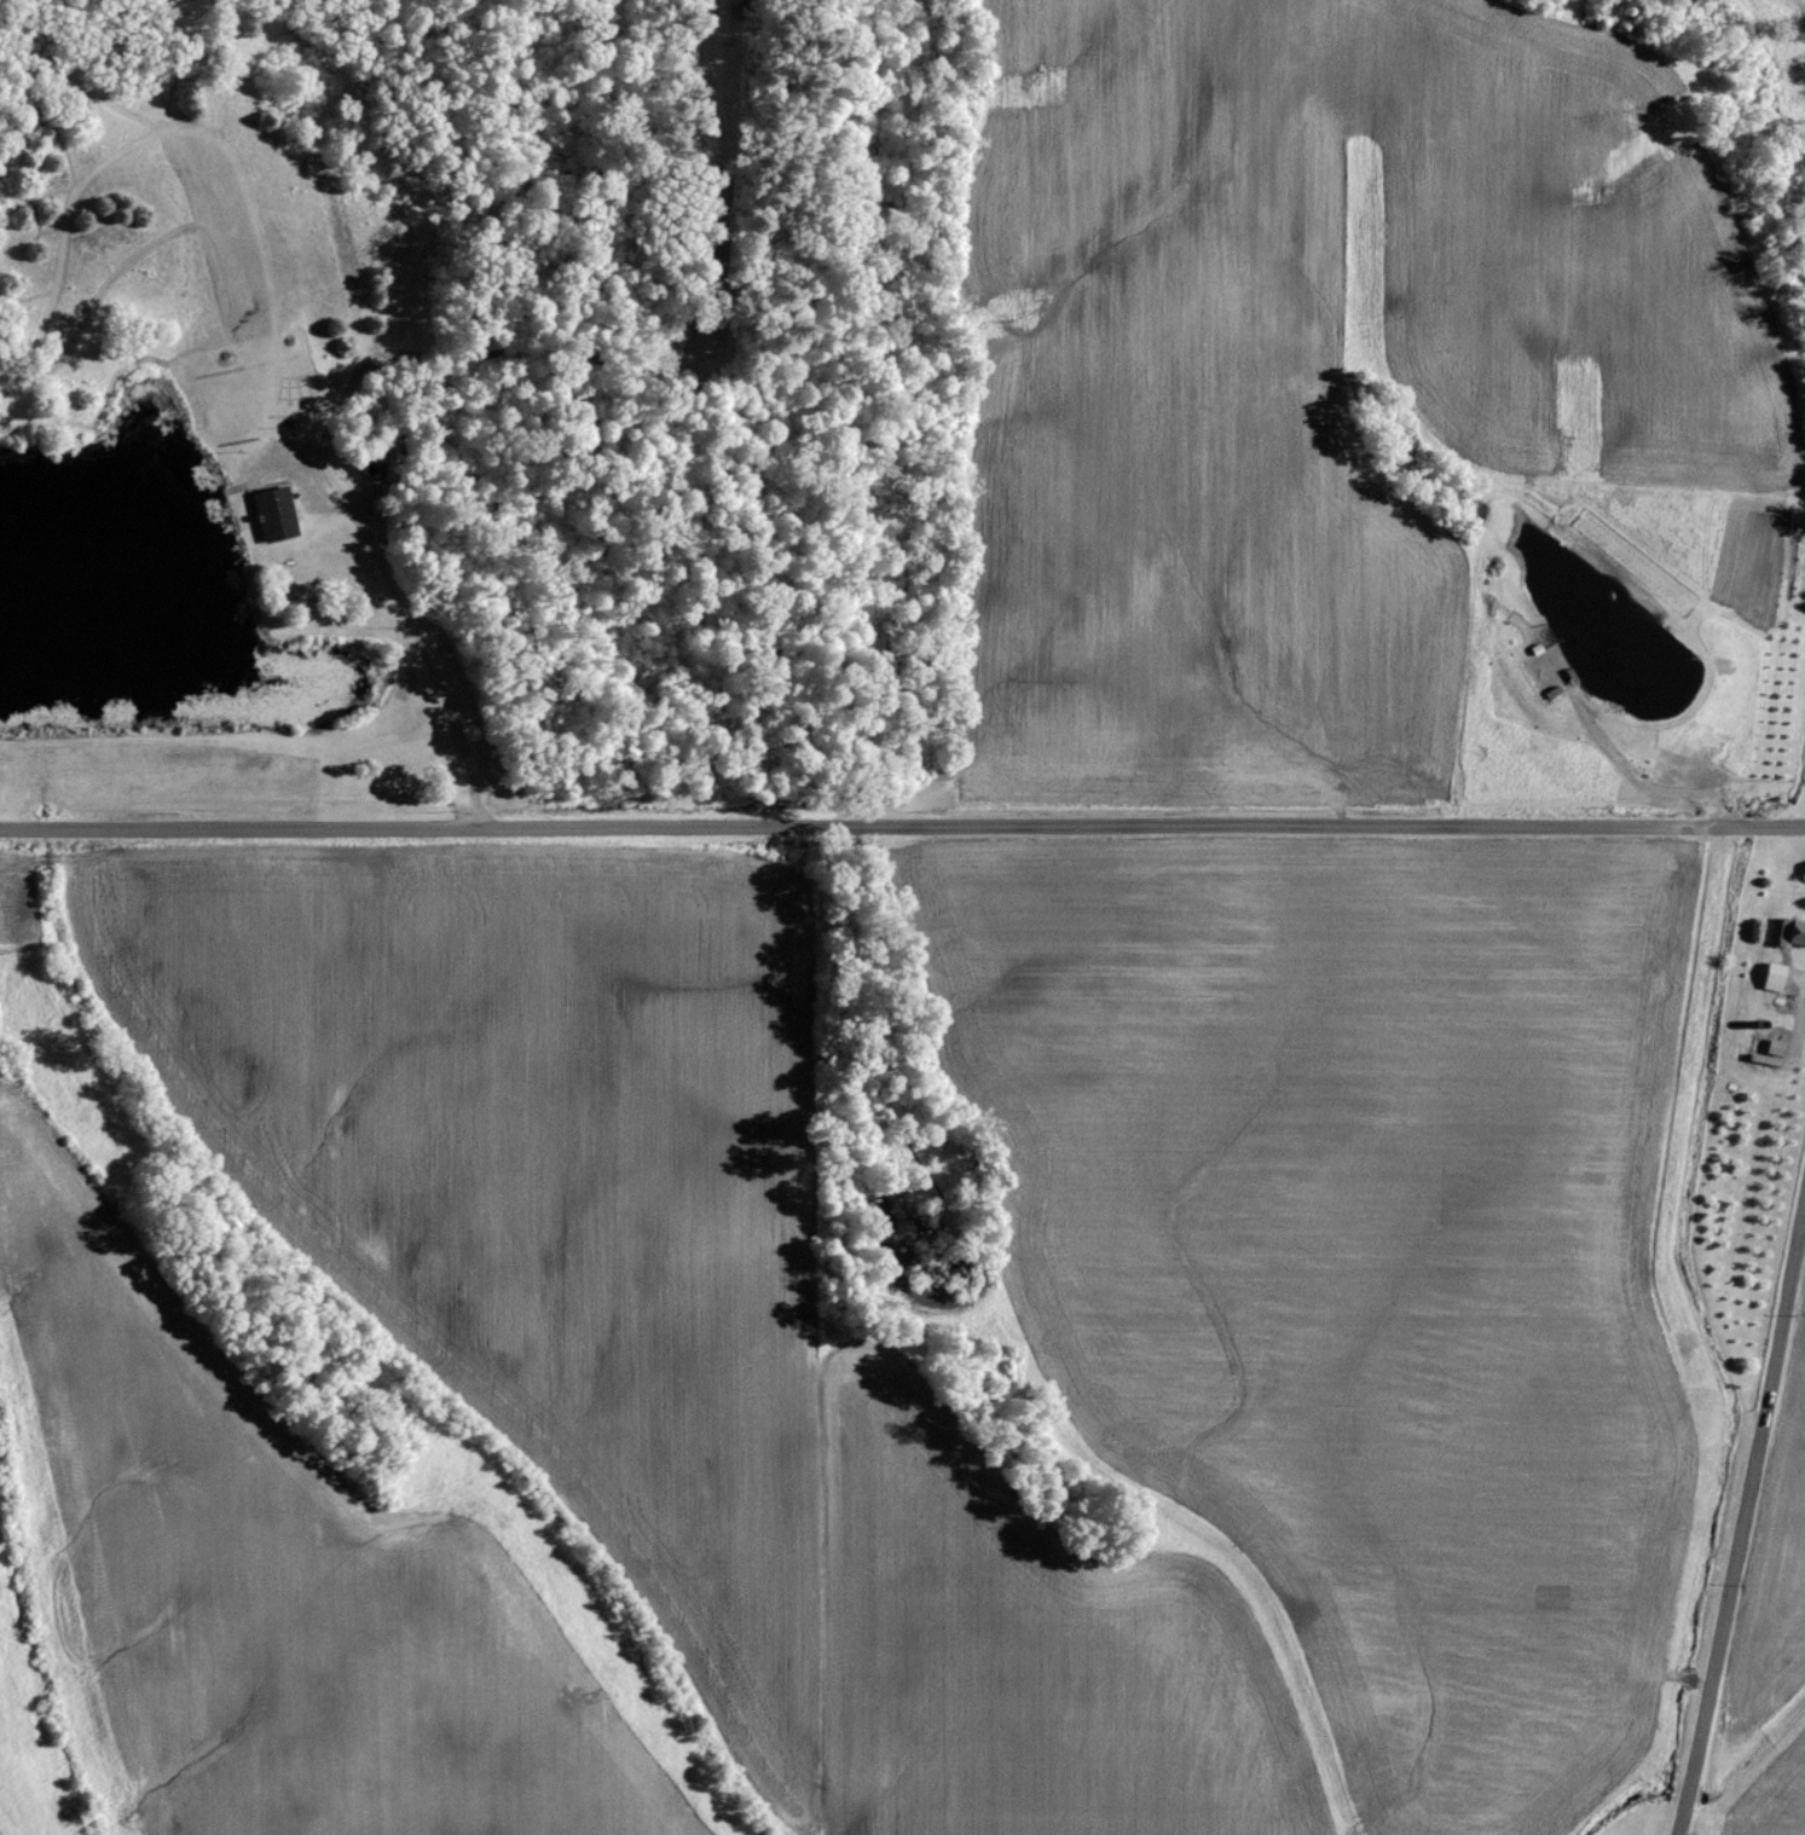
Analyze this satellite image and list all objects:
building: (271, 515)
road: (427, 662)
road: (902, 824)
building: (1789, 933)
building: (1771, 978)
road: (1741, 1522)

